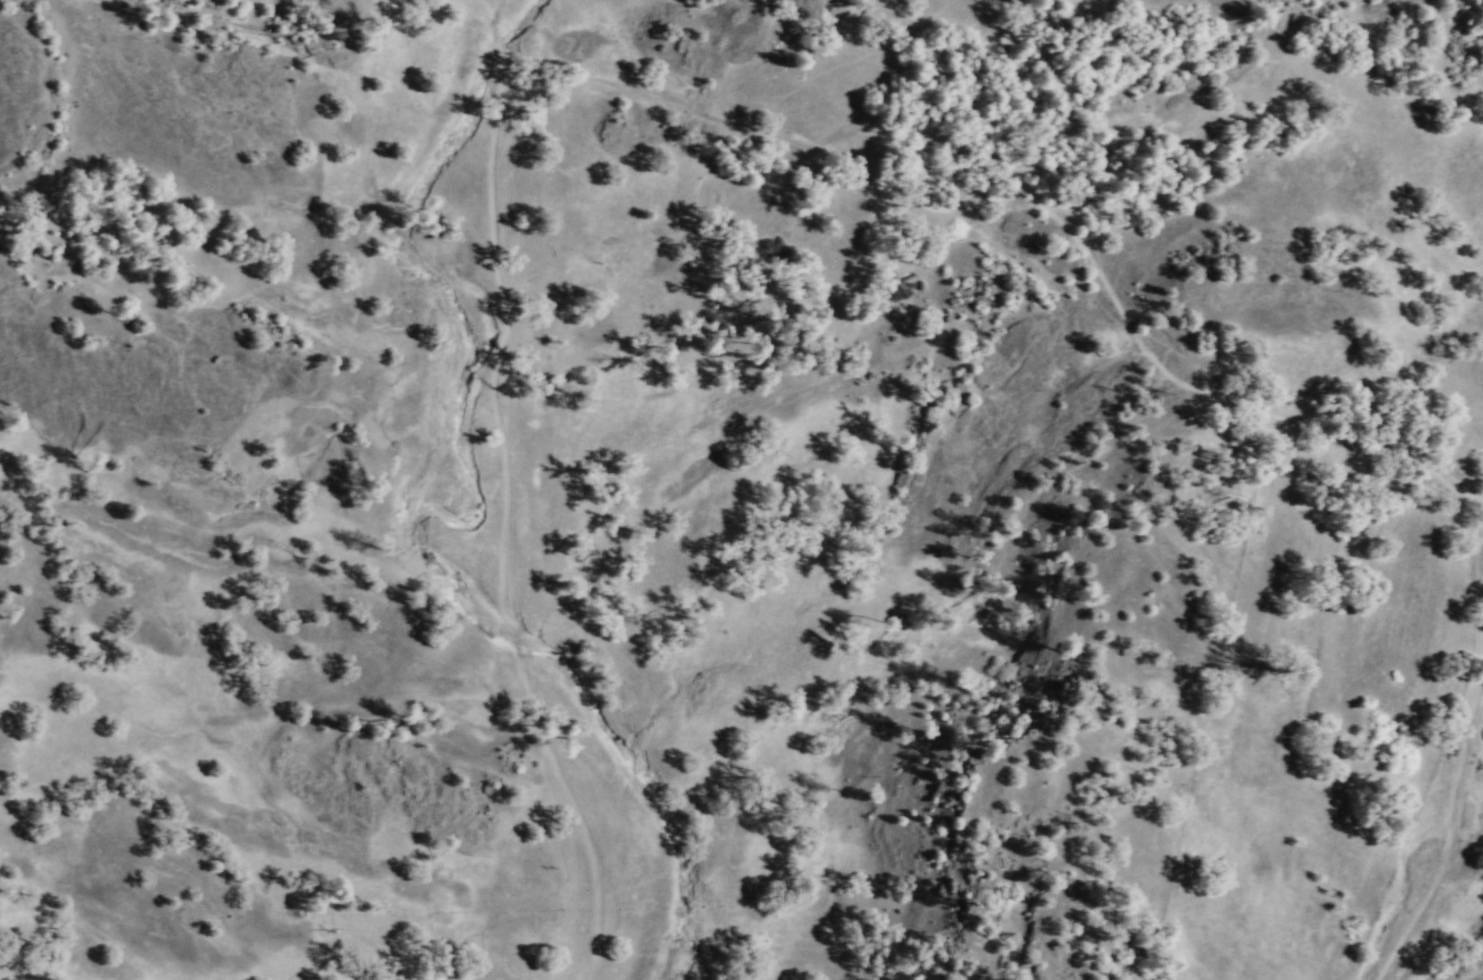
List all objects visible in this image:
road: (1028, 191)
road: (504, 495)
road: (1449, 832)

